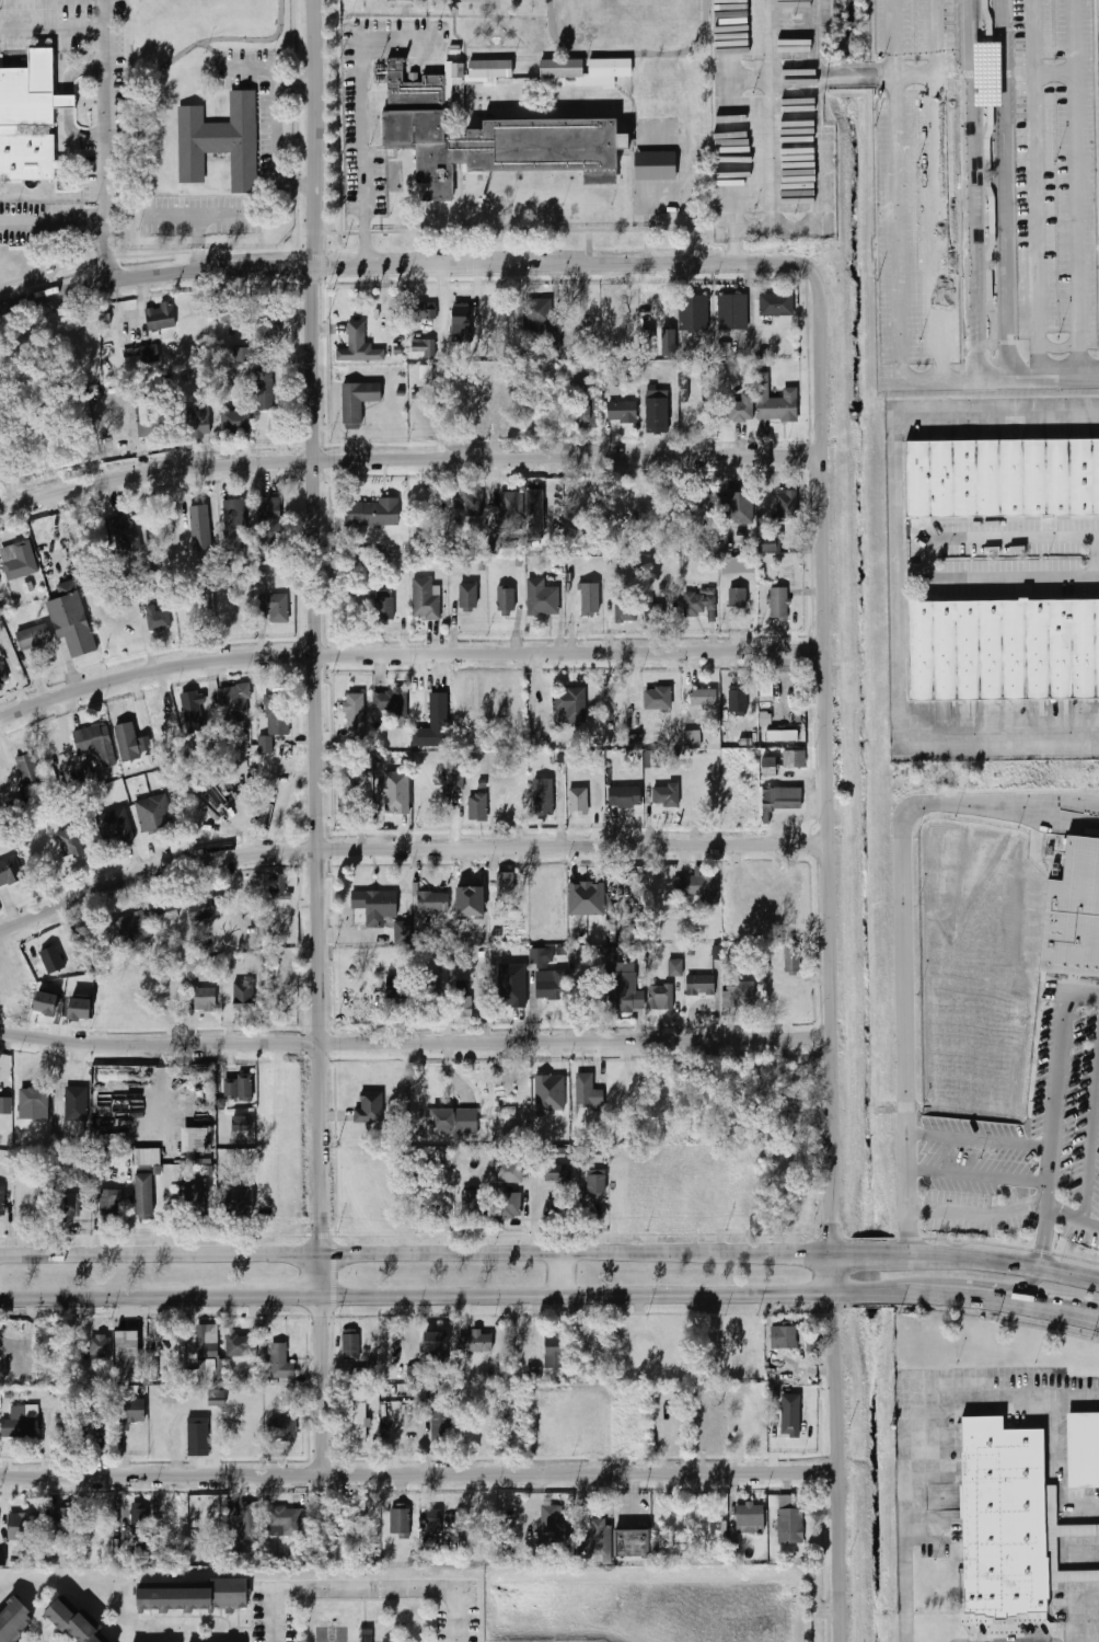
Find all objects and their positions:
road: (102, 16)
parking lot: (767, 30)
road: (50, 34)
building: (562, 66)
road: (947, 73)
road: (967, 73)
road: (979, 73)
road: (988, 73)
road: (998, 73)
road: (1007, 73)
road: (1023, 73)
road: (1055, 73)
building: (988, 74)
road: (916, 76)
road: (814, 78)
building: (66, 103)
road: (360, 114)
building: (27, 120)
road: (732, 131)
road: (317, 134)
building: (491, 137)
building: (219, 141)
road: (102, 157)
building: (653, 165)
parking lot: (773, 168)
road: (1014, 169)
parking lot: (1056, 170)
road: (899, 183)
parking lot: (916, 184)
road: (1077, 186)
road: (1006, 187)
road: (1036, 187)
road: (938, 188)
road: (973, 188)
road: (51, 218)
road: (991, 219)
road: (527, 265)
road: (157, 275)
building: (776, 305)
building: (732, 311)
building: (232, 312)
building: (421, 312)
building: (693, 312)
building: (159, 317)
building: (542, 321)
building: (270, 322)
building: (462, 323)
building: (668, 342)
building: (648, 343)
building: (361, 345)
building: (421, 348)
building: (141, 354)
road: (993, 354)
building: (240, 355)
road: (990, 366)
building: (426, 371)
road: (1053, 375)
building: (578, 376)
road: (994, 376)
road: (936, 378)
building: (264, 389)
building: (706, 389)
building: (357, 401)
building: (776, 402)
building: (475, 407)
building: (742, 407)
building: (588, 411)
building: (623, 411)
building: (658, 412)
building: (236, 416)
building: (197, 421)
road: (406, 461)
building: (1003, 475)
road: (902, 481)
building: (574, 500)
building: (474, 503)
building: (786, 506)
building: (738, 507)
building: (510, 508)
building: (611, 510)
building: (372, 512)
building: (701, 513)
building: (534, 514)
building: (197, 519)
building: (271, 523)
building: (234, 525)
building: (126, 535)
building: (773, 543)
building: (510, 549)
road: (924, 556)
building: (20, 560)
building: (739, 564)
building: (0, 578)
building: (468, 596)
building: (539, 597)
building: (738, 597)
building: (425, 598)
building: (506, 599)
building: (591, 599)
building: (699, 604)
building: (779, 604)
building: (384, 605)
building: (275, 606)
building: (655, 611)
building: (625, 612)
building: (158, 618)
building: (71, 619)
building: (34, 636)
building: (1003, 647)
road: (408, 656)
building: (3, 675)
building: (704, 697)
building: (658, 698)
building: (234, 700)
building: (391, 701)
building: (738, 701)
building: (569, 705)
building: (193, 709)
building: (436, 714)
building: (355, 716)
building: (275, 720)
road: (829, 722)
building: (123, 727)
building: (783, 735)
building: (693, 738)
road: (1006, 738)
building: (95, 745)
building: (651, 758)
building: (795, 758)
road: (317, 760)
building: (771, 766)
building: (28, 770)
building: (90, 777)
building: (456, 782)
building: (395, 792)
building: (666, 795)
building: (542, 796)
building: (618, 796)
building: (783, 799)
building: (578, 800)
building: (349, 801)
building: (477, 806)
building: (153, 814)
building: (118, 825)
building: (70, 842)
road: (408, 849)
building: (58, 854)
building: (9, 871)
building: (276, 886)
building: (505, 887)
building: (699, 887)
building: (587, 898)
building: (433, 903)
building: (375, 905)
building: (212, 906)
building: (1074, 910)
building: (165, 911)
building: (132, 925)
building: (404, 931)
road: (904, 935)
building: (718, 952)
building: (49, 956)
building: (443, 957)
building: (540, 957)
building: (793, 958)
building: (675, 967)
building: (192, 968)
building: (512, 985)
building: (701, 985)
building: (397, 986)
building: (549, 987)
building: (625, 988)
building: (431, 989)
building: (742, 994)
building: (245, 995)
building: (661, 997)
building: (46, 1002)
building: (464, 1002)
building: (206, 1004)
building: (80, 1009)
road: (416, 1044)
building: (239, 1087)
building: (588, 1091)
building: (34, 1103)
building: (76, 1105)
building: (369, 1107)
building: (509, 1113)
road: (1054, 1114)
building: (454, 1121)
building: (241, 1124)
road: (1091, 1138)
building: (197, 1139)
road: (980, 1139)
building: (147, 1156)
building: (79, 1170)
building: (557, 1172)
road: (979, 1176)
building: (597, 1182)
building: (500, 1187)
building: (194, 1195)
building: (144, 1196)
building: (2, 1201)
building: (108, 1203)
building: (471, 1203)
building: (68, 1205)
building: (241, 1209)
building: (555, 1209)
road: (1073, 1214)
road: (979, 1215)
road: (162, 1253)
road: (579, 1253)
road: (866, 1253)
road: (998, 1261)
road: (571, 1275)
road: (834, 1275)
road: (324, 1276)
road: (1005, 1291)
road: (579, 1297)
road: (117, 1298)
road: (279, 1299)
road: (967, 1299)
building: (783, 1337)
building: (438, 1341)
building: (478, 1342)
building: (101, 1345)
building: (241, 1345)
building: (350, 1345)
building: (554, 1348)
building: (128, 1356)
building: (206, 1356)
building: (281, 1362)
building: (414, 1374)
building: (533, 1374)
road: (323, 1388)
building: (217, 1398)
building: (131, 1412)
building: (24, 1422)
building: (357, 1423)
building: (441, 1424)
building: (790, 1424)
road: (906, 1429)
building: (100, 1432)
building: (198, 1434)
building: (284, 1435)
building: (1083, 1449)
road: (837, 1469)
road: (419, 1477)
building: (1002, 1517)
building: (140, 1518)
building: (751, 1518)
building: (284, 1520)
building: (400, 1520)
building: (59, 1522)
building: (247, 1522)
building: (433, 1522)
building: (555, 1524)
building: (790, 1525)
building: (21, 1526)
building: (599, 1536)
building: (16, 1542)
building: (634, 1543)
building: (1051, 1543)
building: (63, 1550)
road: (366, 1588)
building: (201, 1597)
building: (15, 1620)
building: (78, 1623)
building: (365, 1634)

